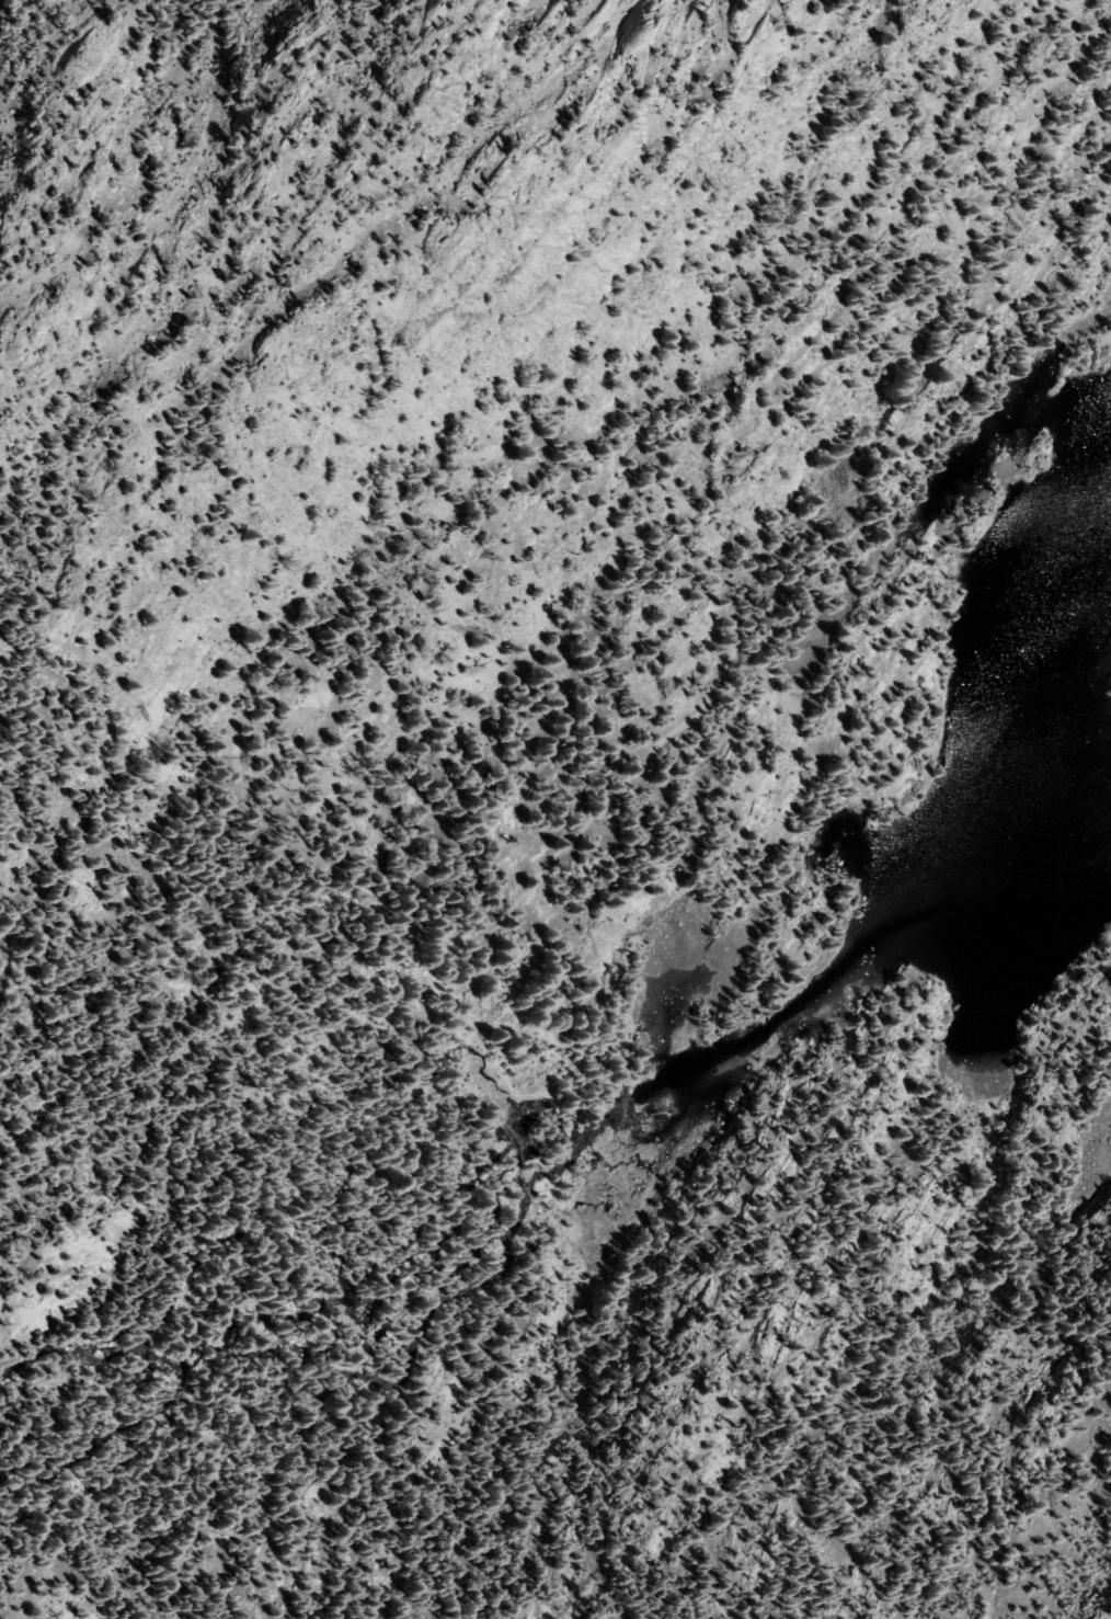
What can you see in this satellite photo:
road: (513, 916)

